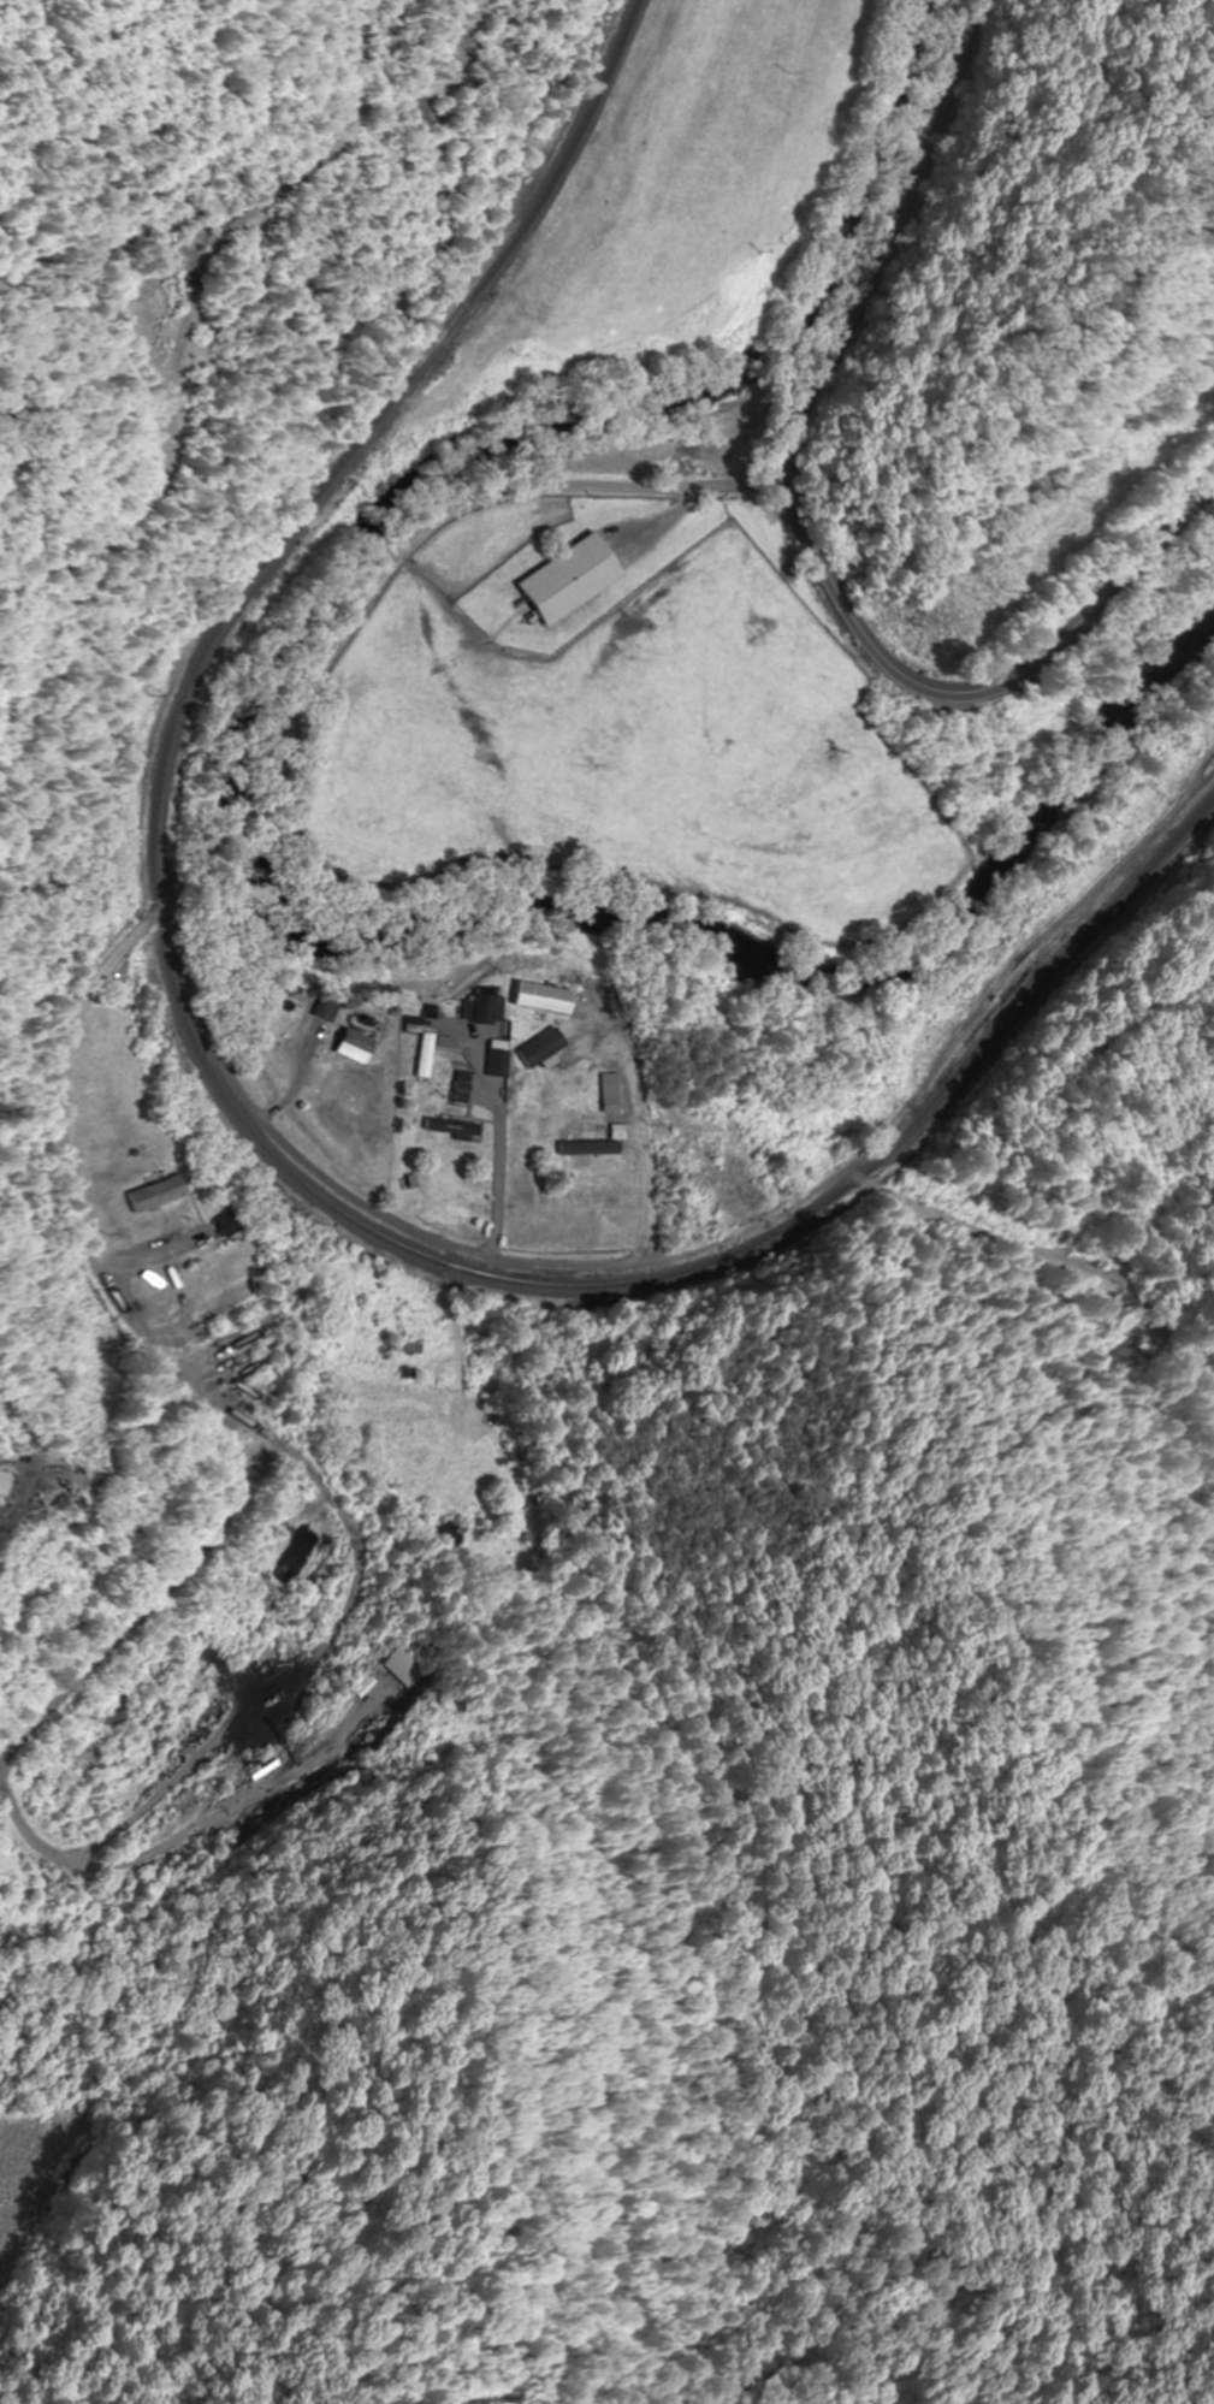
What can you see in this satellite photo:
road: (444, 513)
road: (805, 527)
building: (565, 580)
road: (248, 816)
river: (254, 833)
building: (537, 997)
building: (322, 1008)
building: (481, 1008)
building: (349, 1046)
building: (493, 1058)
building: (457, 1086)
railway: (224, 1088)
building: (605, 1093)
building: (446, 1127)
building: (584, 1139)
building: (153, 1194)
building: (224, 1222)
road: (638, 1263)
road: (148, 1322)
building: (4, 1481)
building: (510, 1506)
building: (457, 1528)
building: (408, 1668)
building: (17, 2184)

